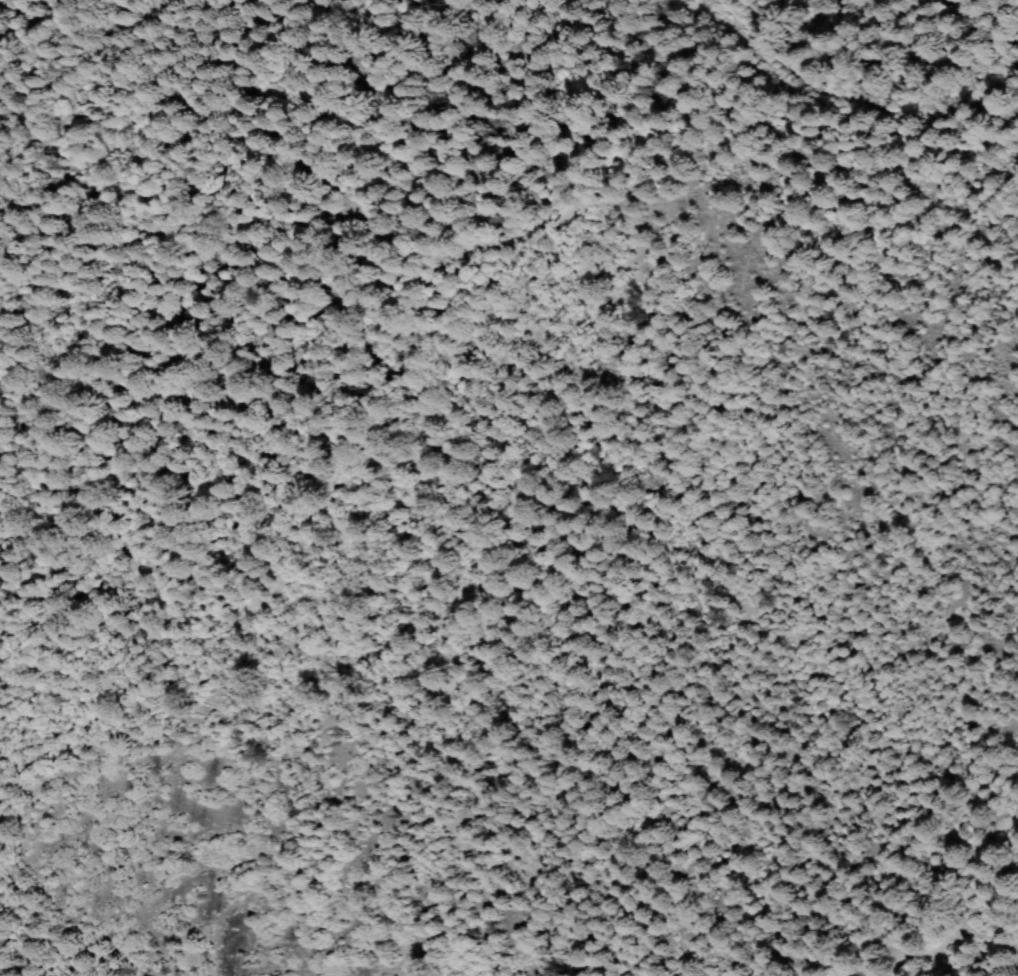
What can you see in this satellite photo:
road: (478, 248)

